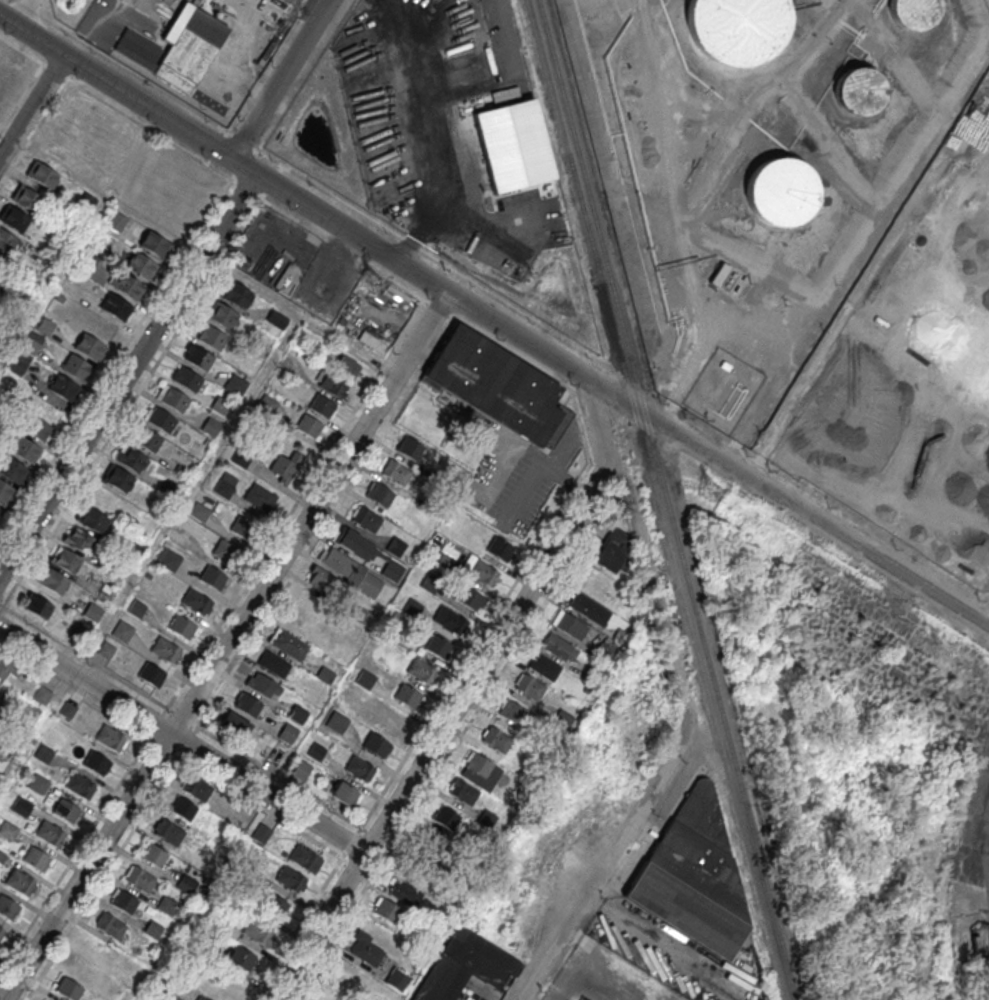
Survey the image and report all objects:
wastewater plant: (65, 11)
road: (23, 12)
building: (913, 12)
storage tank: (913, 12)
building: (736, 27)
storage tank: (736, 27)
building: (190, 47)
road: (279, 79)
building: (857, 90)
storage tank: (857, 90)
road: (31, 105)
road: (416, 133)
road: (5, 137)
building: (41, 174)
building: (779, 191)
storage tank: (779, 191)
building: (25, 196)
building: (14, 217)
building: (8, 242)
building: (153, 243)
road: (371, 245)
road: (203, 257)
building: (140, 264)
power tower: (368, 283)
building: (126, 284)
building: (235, 294)
building: (115, 306)
building: (222, 315)
building: (277, 319)
building: (211, 337)
building: (89, 346)
building: (199, 357)
building: (18, 364)
building: (725, 364)
building: (346, 366)
building: (76, 367)
road: (126, 373)
building: (187, 378)
building: (332, 383)
building: (236, 384)
building: (497, 385)
building: (63, 387)
building: (174, 398)
building: (322, 405)
building: (161, 419)
building: (210, 426)
building: (309, 426)
building: (38, 428)
building: (146, 438)
building: (24, 448)
building: (409, 448)
building: (131, 458)
building: (285, 466)
building: (12, 469)
building: (395, 472)
building: (118, 478)
building: (225, 484)
power tower: (704, 489)
building: (5, 492)
building: (380, 494)
building: (260, 497)
railway: (665, 500)
building: (0, 508)
building: (200, 511)
building: (365, 518)
building: (93, 519)
building: (241, 526)
road: (636, 526)
building: (79, 539)
building: (395, 546)
building: (499, 548)
building: (612, 548)
building: (224, 550)
road: (866, 550)
building: (169, 558)
building: (66, 560)
building: (392, 569)
building: (483, 572)
building: (344, 573)
building: (212, 576)
building: (54, 579)
building: (593, 581)
building: (429, 582)
building: (471, 598)
building: (196, 601)
building: (37, 604)
building: (136, 607)
building: (412, 607)
building: (588, 607)
building: (93, 611)
building: (450, 620)
building: (569, 625)
building: (182, 626)
building: (122, 631)
road: (666, 642)
building: (288, 644)
road: (224, 646)
building: (438, 647)
building: (559, 647)
building: (106, 649)
building: (165, 649)
building: (274, 664)
building: (5, 666)
building: (544, 666)
building: (421, 670)
building: (152, 674)
building: (325, 674)
building: (365, 679)
building: (262, 684)
building: (529, 687)
road: (462, 695)
building: (408, 696)
building: (247, 704)
building: (511, 711)
building: (297, 713)
building: (337, 721)
building: (234, 723)
building: (288, 732)
building: (110, 737)
building: (496, 738)
road: (181, 740)
building: (376, 744)
building: (316, 750)
building: (44, 753)
building: (271, 754)
building: (96, 761)
building: (478, 764)
building: (360, 769)
building: (301, 770)
building: (37, 783)
building: (82, 786)
building: (197, 787)
building: (463, 791)
building: (345, 793)
building: (22, 806)
building: (183, 807)
building: (66, 809)
building: (445, 816)
building: (168, 831)
building: (50, 833)
building: (261, 833)
road: (618, 841)
building: (426, 845)
building: (152, 854)
building: (304, 857)
building: (36, 858)
building: (694, 877)
building: (139, 878)
building: (290, 878)
building: (20, 881)
building: (186, 883)
building: (405, 892)
building: (123, 900)
building: (274, 904)
building: (167, 905)
building: (8, 907)
building: (387, 910)
building: (109, 925)
building: (153, 928)
building: (2, 933)
building: (260, 934)
building: (365, 948)
building: (242, 957)
building: (464, 966)
building: (68, 988)
building: (202, 997)

